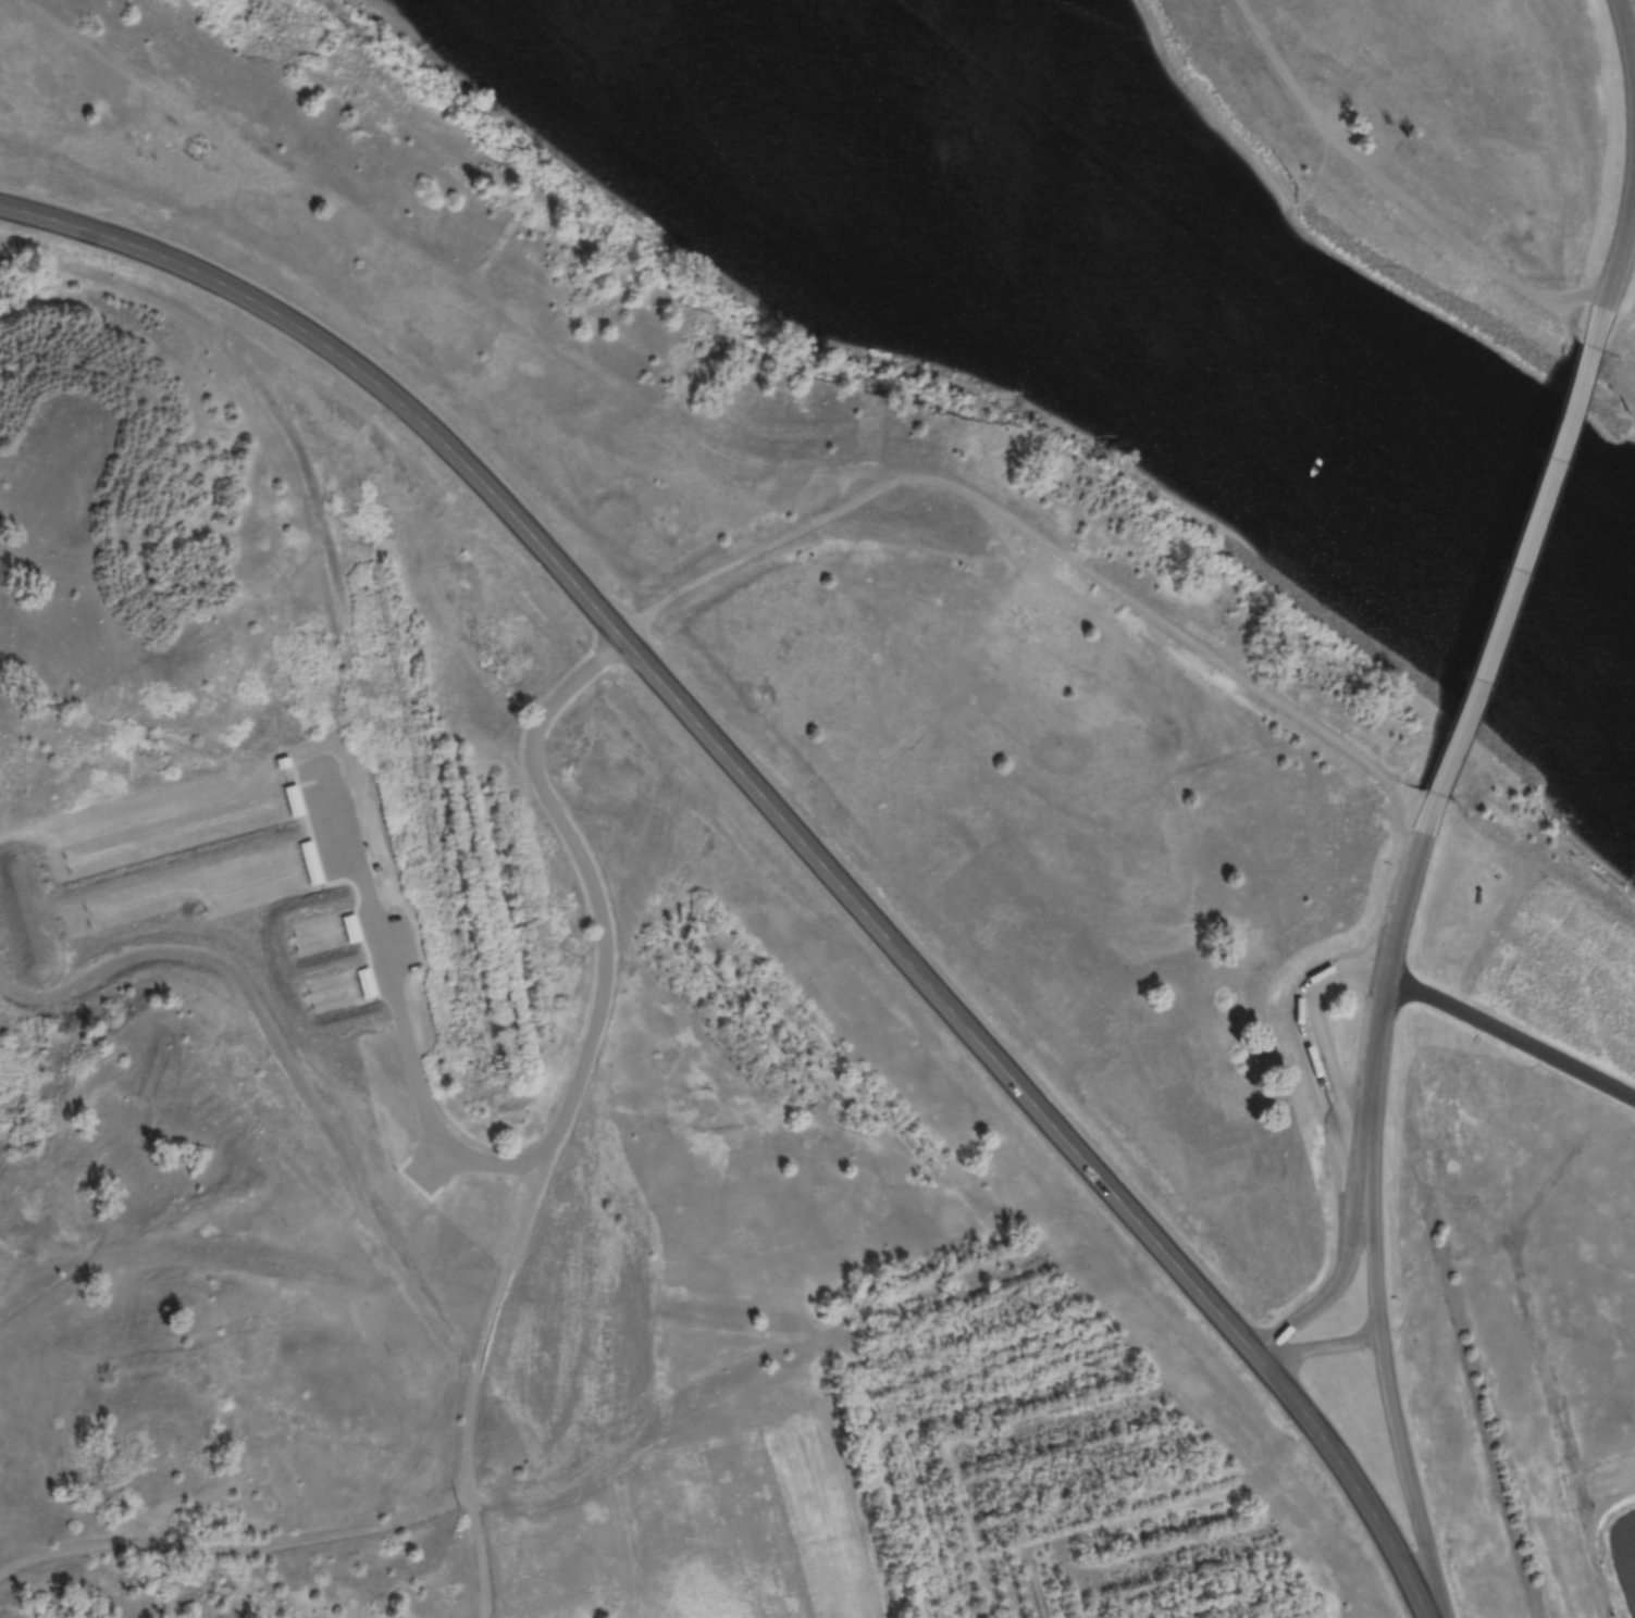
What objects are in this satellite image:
road: (1633, 174)
road: (1631, 175)
road: (1397, 194)
road: (665, 410)
road: (1514, 573)
building: (281, 748)
building: (292, 787)
road: (784, 825)
building: (309, 849)
building: (349, 913)
park: (267, 932)
building: (364, 969)
road: (1380, 983)
road: (1510, 1031)
road: (1308, 1045)
road: (288, 1060)
road: (557, 1122)
road: (1334, 1282)
road: (495, 1309)
road: (1314, 1346)
road: (1385, 1399)
road: (233, 1549)

